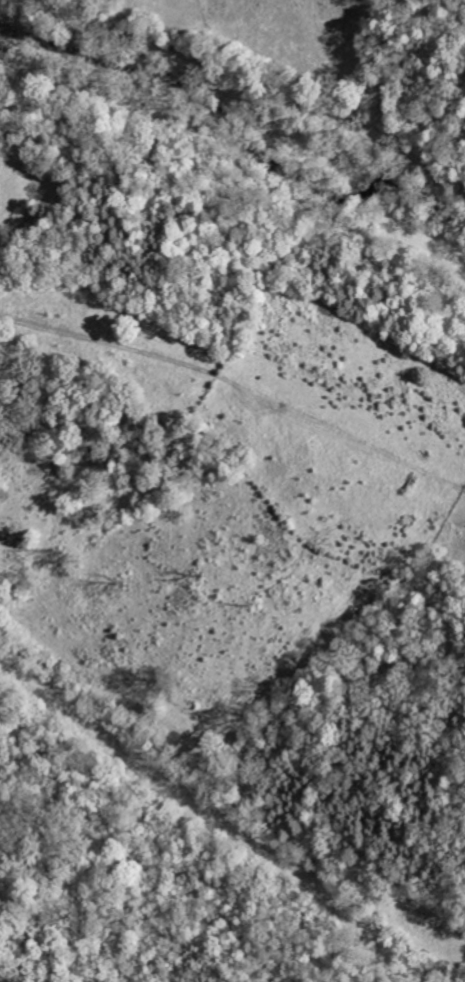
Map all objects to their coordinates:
road: (2, 53)
road: (236, 391)

